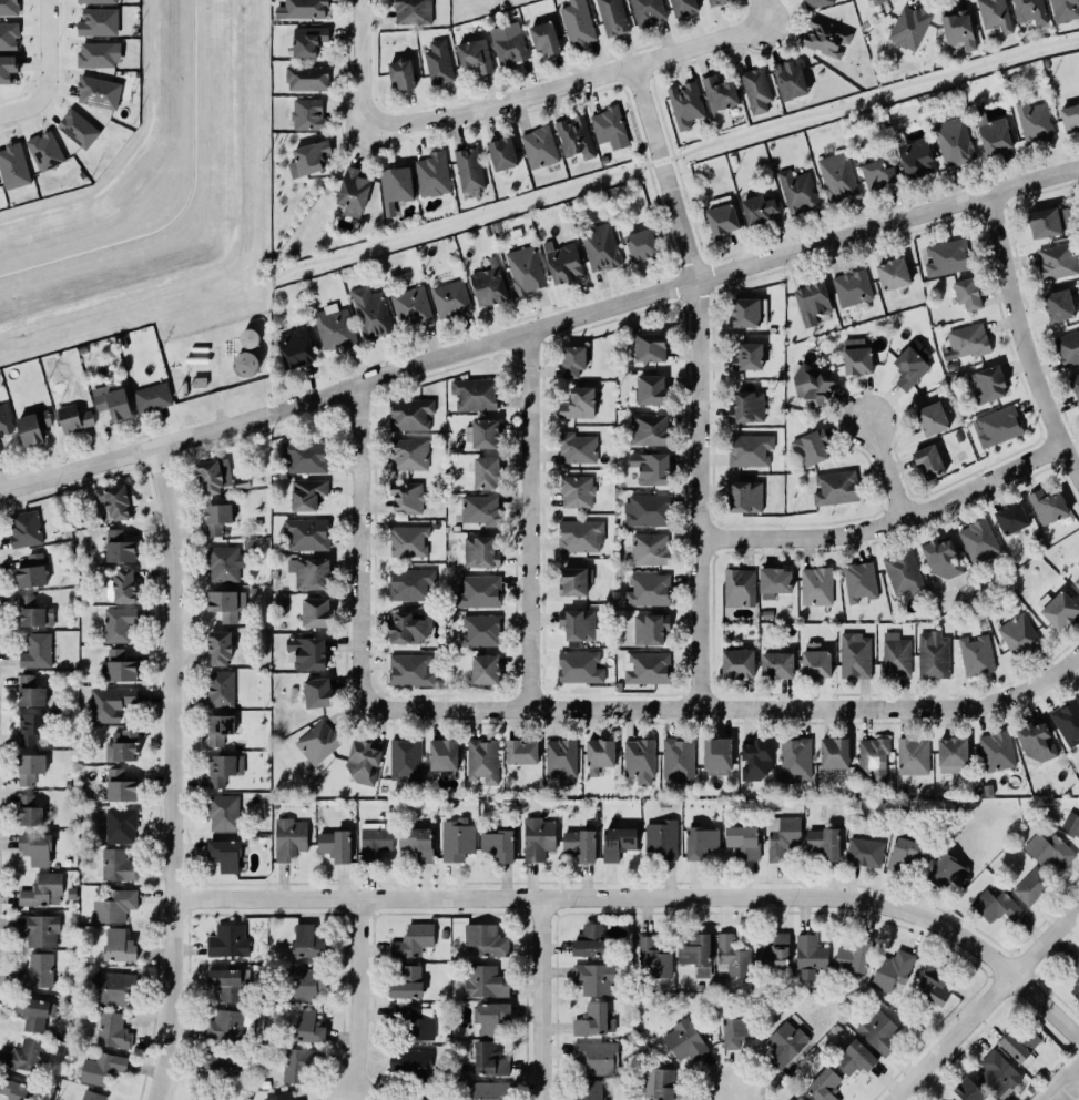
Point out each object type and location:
building: (100, 1)
building: (713, 2)
building: (813, 2)
building: (874, 2)
building: (8, 7)
building: (683, 7)
building: (301, 8)
building: (1027, 10)
building: (1062, 10)
building: (410, 11)
building: (647, 11)
road: (763, 14)
building: (993, 14)
building: (610, 17)
building: (98, 22)
building: (577, 22)
building: (907, 27)
building: (958, 30)
building: (8, 32)
building: (542, 35)
building: (826, 38)
building: (306, 39)
road: (48, 45)
building: (507, 47)
road: (699, 49)
building: (96, 53)
building: (472, 53)
building: (438, 63)
road: (363, 64)
building: (8, 70)
building: (399, 72)
building: (306, 78)
building: (790, 80)
road: (621, 84)
building: (98, 90)
building: (756, 90)
road: (874, 92)
building: (719, 93)
park: (873, 96)
building: (685, 104)
road: (23, 105)
road: (498, 105)
building: (306, 113)
building: (1070, 116)
building: (1034, 121)
road: (633, 124)
building: (609, 128)
building: (78, 129)
building: (993, 133)
building: (574, 136)
building: (954, 142)
building: (537, 145)
building: (44, 151)
building: (501, 154)
building: (914, 155)
building: (308, 159)
road: (659, 160)
building: (13, 166)
building: (468, 170)
building: (430, 173)
road: (663, 173)
building: (877, 174)
building: (836, 176)
building: (395, 187)
building: (795, 190)
building: (353, 192)
building: (756, 208)
road: (660, 214)
building: (721, 217)
road: (457, 218)
park: (457, 221)
building: (1049, 222)
building: (641, 244)
building: (599, 245)
building: (945, 256)
building: (1056, 261)
building: (562, 262)
road: (674, 267)
building: (523, 271)
building: (893, 274)
building: (487, 284)
building: (849, 287)
building: (965, 293)
building: (448, 297)
building: (811, 301)
building: (1059, 305)
building: (410, 307)
building: (368, 310)
building: (747, 312)
building: (333, 326)
road: (539, 327)
building: (968, 342)
road: (1020, 343)
building: (293, 345)
building: (648, 346)
building: (1068, 348)
building: (745, 356)
building: (855, 356)
building: (571, 359)
building: (246, 364)
building: (909, 368)
building: (199, 381)
building: (985, 383)
building: (810, 385)
building: (1075, 387)
building: (649, 388)
building: (472, 393)
building: (152, 397)
building: (112, 401)
building: (577, 404)
building: (746, 407)
building: (408, 414)
building: (72, 417)
building: (929, 417)
building: (4, 420)
building: (996, 426)
building: (32, 427)
building: (648, 429)
building: (482, 434)
building: (577, 448)
building: (810, 448)
building: (0, 449)
building: (747, 450)
building: (407, 454)
building: (304, 457)
building: (928, 461)
building: (649, 468)
road: (886, 469)
building: (483, 471)
building: (214, 476)
building: (833, 487)
building: (577, 491)
building: (306, 495)
road: (698, 495)
building: (745, 497)
building: (406, 498)
building: (114, 501)
building: (1047, 507)
building: (478, 509)
building: (647, 510)
building: (216, 518)
building: (1011, 518)
road: (527, 520)
road: (886, 524)
building: (23, 528)
building: (305, 533)
building: (579, 536)
building: (976, 539)
building: (406, 540)
road: (366, 544)
building: (119, 547)
building: (649, 549)
building: (480, 552)
building: (940, 559)
building: (222, 562)
building: (30, 570)
building: (900, 572)
building: (309, 573)
building: (574, 580)
building: (857, 580)
building: (1077, 581)
building: (774, 582)
building: (408, 583)
building: (122, 584)
building: (816, 585)
building: (737, 587)
building: (645, 589)
building: (478, 591)
building: (225, 603)
building: (28, 610)
building: (1060, 610)
building: (315, 612)
building: (115, 623)
building: (576, 623)
building: (407, 625)
building: (648, 628)
building: (478, 630)
building: (1017, 634)
building: (218, 646)
building: (34, 650)
building: (304, 652)
building: (974, 653)
building: (854, 655)
building: (895, 655)
building: (933, 656)
building: (814, 662)
building: (737, 663)
building: (777, 664)
building: (115, 665)
building: (580, 666)
building: (644, 668)
building: (485, 669)
building: (408, 670)
building: (218, 687)
building: (29, 691)
building: (315, 692)
building: (1078, 693)
building: (108, 702)
road: (733, 707)
building: (1066, 720)
building: (217, 727)
building: (30, 729)
building: (1032, 740)
building: (317, 742)
building: (120, 745)
building: (519, 751)
building: (995, 751)
building: (715, 752)
building: (953, 752)
building: (833, 753)
building: (441, 754)
building: (598, 754)
building: (912, 755)
building: (754, 757)
building: (676, 758)
building: (405, 760)
building: (481, 760)
building: (559, 760)
building: (638, 760)
building: (795, 760)
building: (873, 760)
building: (360, 761)
building: (28, 766)
building: (221, 767)
road: (177, 771)
building: (118, 785)
building: (29, 811)
building: (222, 811)
building: (594, 815)
building: (1070, 823)
building: (119, 824)
building: (782, 836)
building: (287, 837)
building: (537, 838)
building: (661, 838)
building: (455, 841)
building: (699, 841)
building: (375, 842)
building: (499, 842)
building: (615, 842)
building: (742, 842)
building: (823, 842)
building: (417, 843)
building: (333, 844)
building: (578, 844)
building: (33, 847)
building: (1048, 851)
building: (864, 852)
building: (224, 854)
building: (903, 854)
building: (118, 866)
building: (948, 870)
building: (1030, 885)
building: (42, 889)
road: (653, 894)
building: (114, 906)
building: (996, 906)
building: (39, 929)
building: (483, 938)
building: (226, 940)
building: (414, 940)
building: (590, 940)
building: (307, 941)
building: (116, 945)
building: (772, 950)
building: (696, 954)
building: (808, 955)
building: (853, 955)
building: (653, 957)
building: (730, 957)
building: (1075, 966)
building: (890, 969)
building: (35, 970)
building: (593, 978)
building: (483, 981)
building: (226, 982)
building: (405, 982)
building: (305, 984)
building: (933, 985)
building: (111, 988)
building: (1075, 989)
road: (365, 997)
road: (547, 997)
road: (986, 1002)
building: (30, 1012)
building: (489, 1017)
building: (594, 1020)
building: (415, 1022)
building: (308, 1026)
building: (227, 1027)
building: (111, 1029)
building: (737, 1030)
building: (876, 1031)
building: (683, 1040)
building: (785, 1043)
building: (23, 1055)
building: (596, 1057)
building: (855, 1058)
building: (488, 1059)
building: (295, 1062)
building: (409, 1062)
building: (216, 1065)
building: (100, 1067)
building: (998, 1074)
building: (824, 1084)
building: (13, 1090)
building: (488, 1090)
building: (591, 1090)
building: (967, 1090)
building: (93, 1096)
building: (278, 1096)
building: (206, 1097)
building: (414, 1098)
building: (797, 1098)
building: (296, 1099)
building: (301, 1099)
road: (731, 1099)

